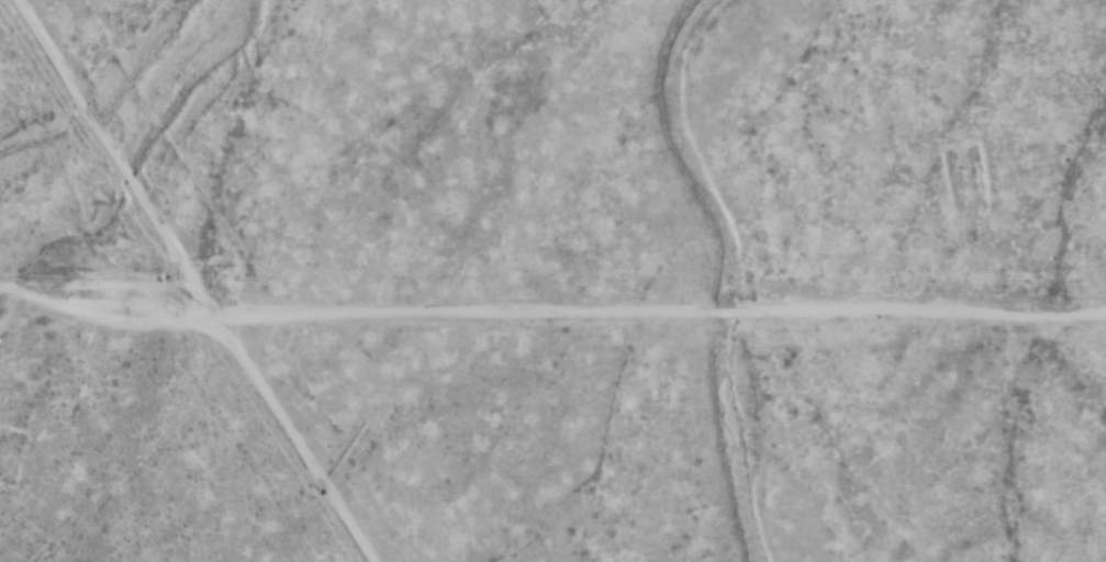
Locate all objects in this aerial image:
road: (174, 291)

